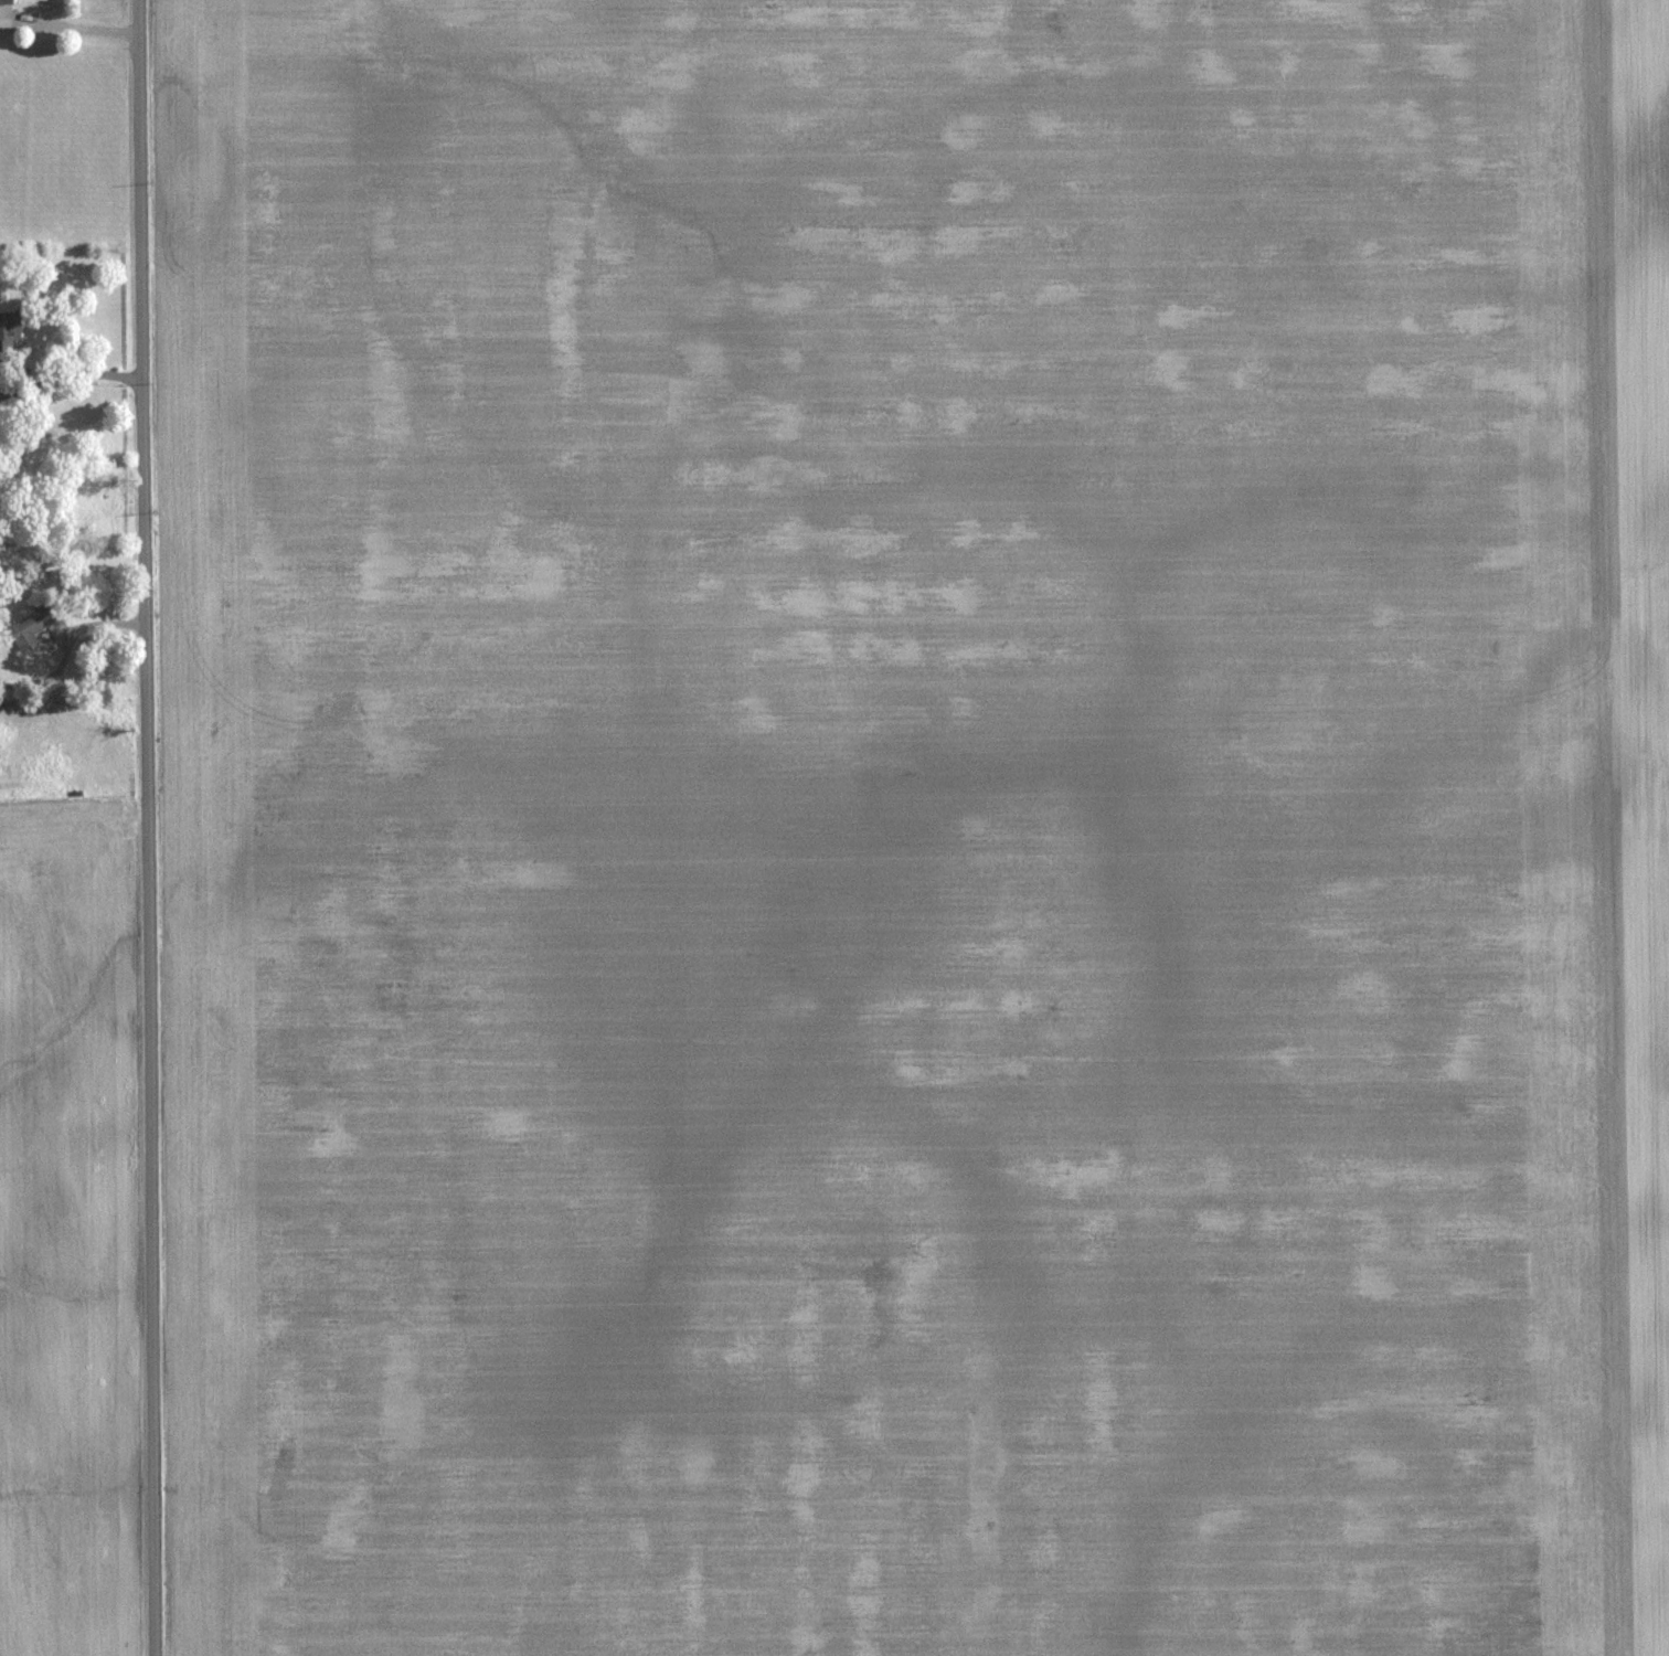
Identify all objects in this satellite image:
building: (8, 2)
road: (68, 26)
building: (11, 336)
road: (68, 370)
building: (34, 625)
road: (146, 827)

